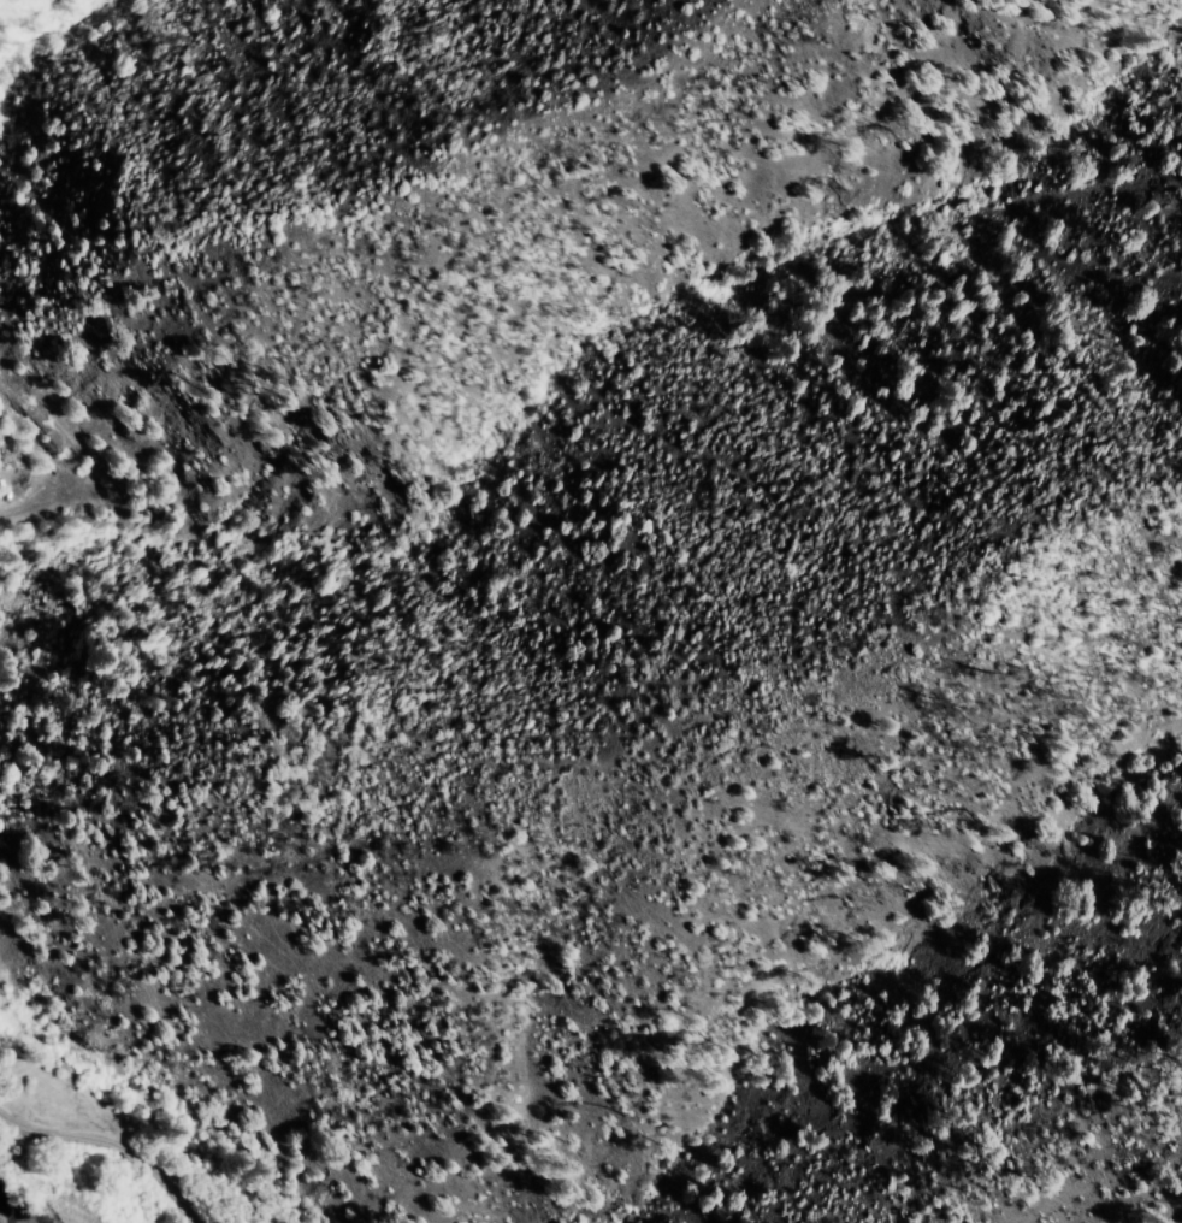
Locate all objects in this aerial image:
road: (118, 1140)

